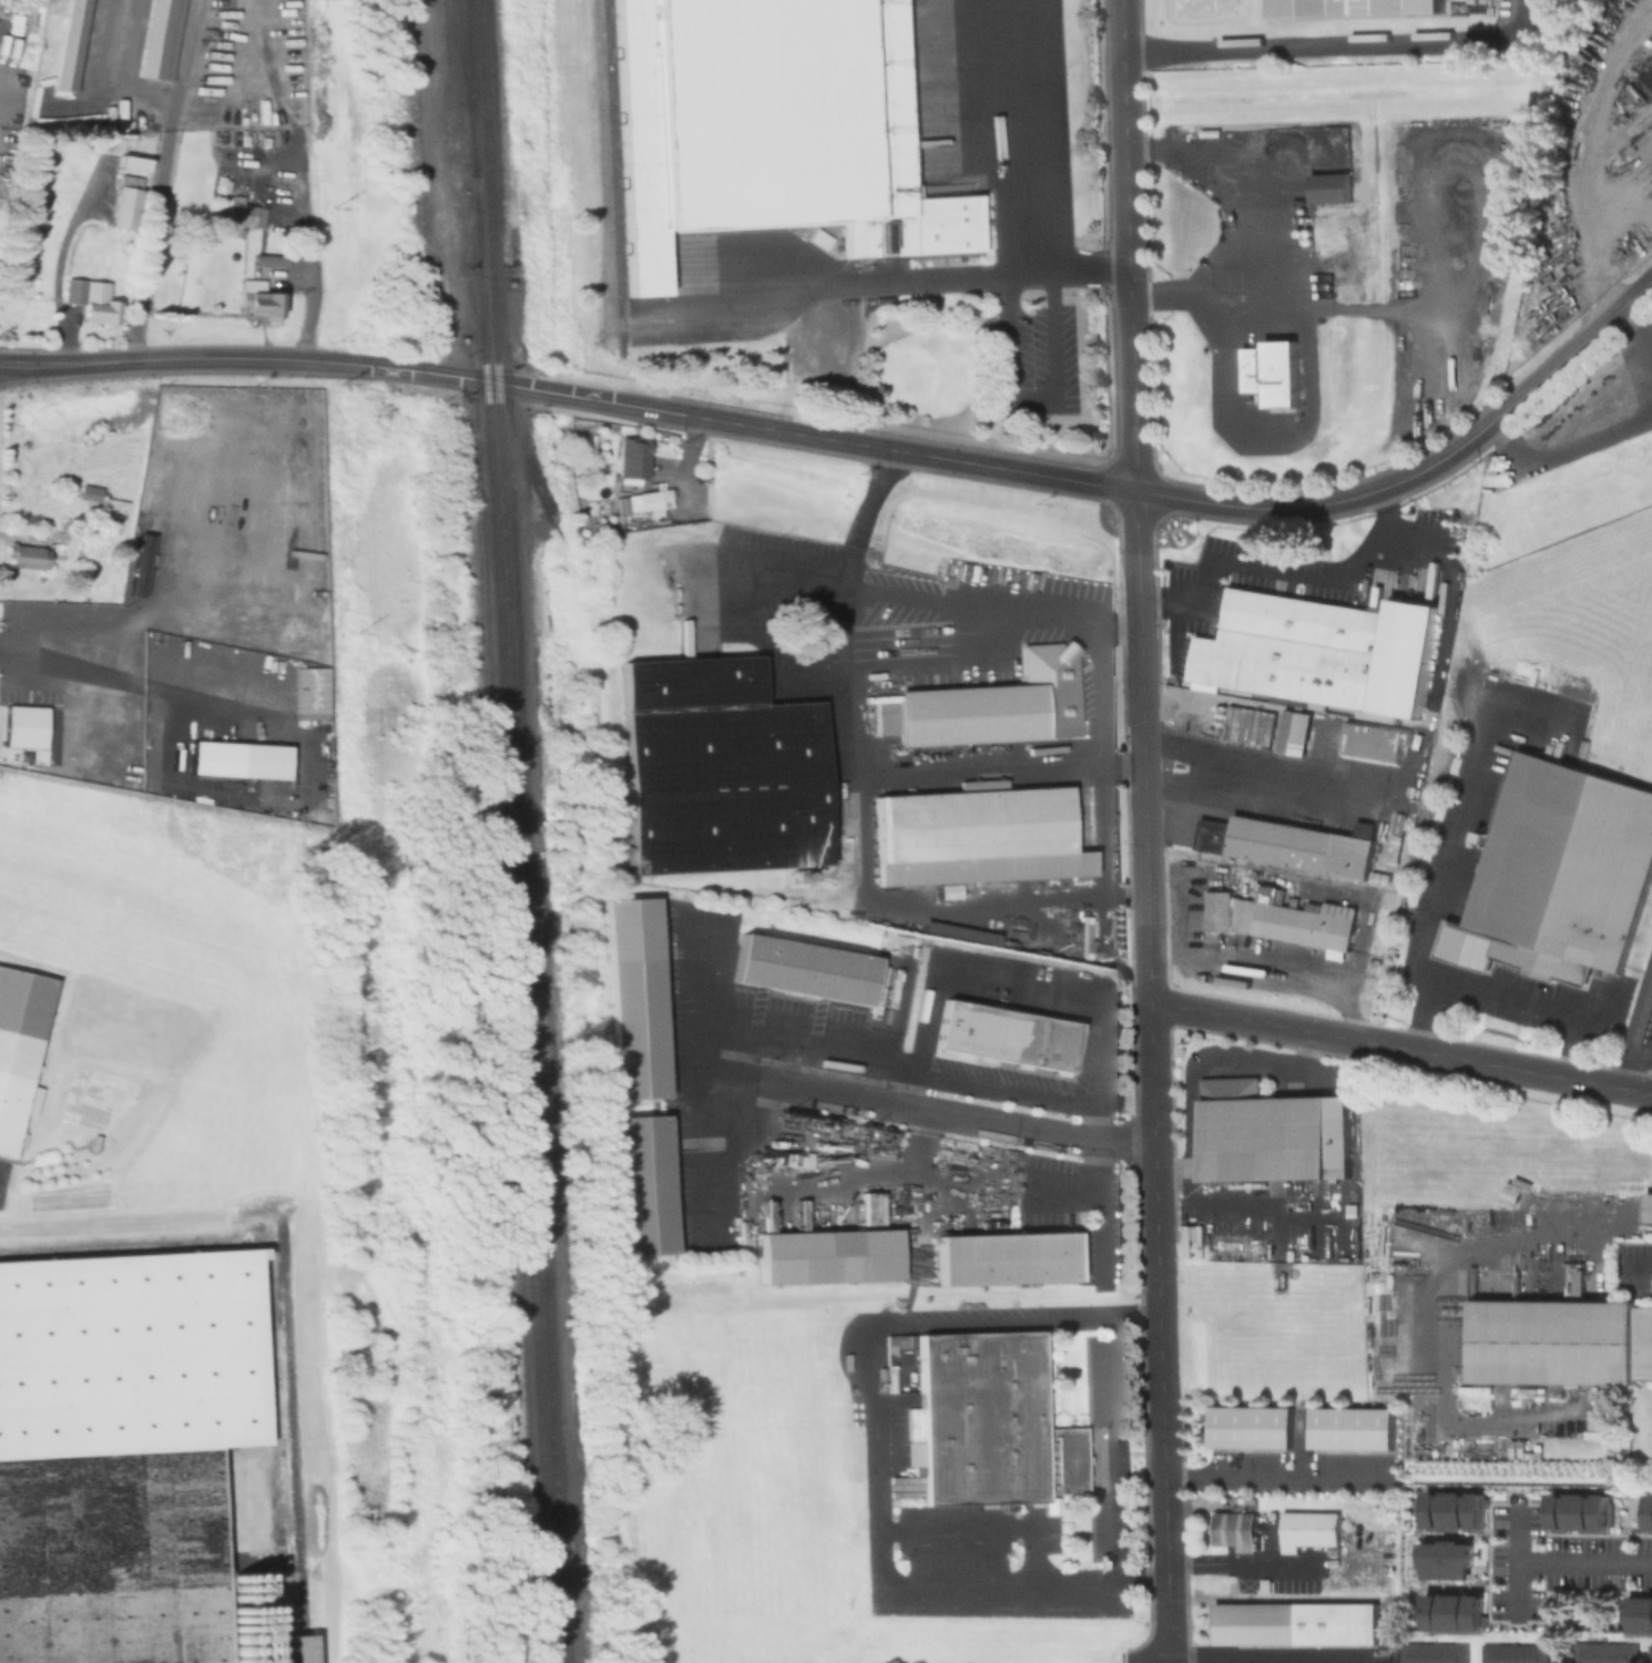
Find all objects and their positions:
building: (1353, 8)
building: (159, 39)
road: (1335, 44)
building: (68, 45)
road: (187, 64)
road: (121, 70)
railway: (460, 88)
building: (768, 127)
railway: (482, 134)
road: (996, 139)
building: (1648, 152)
railway: (610, 155)
road: (1232, 159)
road: (1589, 160)
building: (130, 163)
road: (289, 176)
building: (1329, 188)
building: (122, 207)
railway: (473, 212)
building: (243, 214)
road: (1267, 227)
road: (1624, 235)
road: (150, 242)
road: (1125, 249)
building: (267, 261)
road: (908, 282)
road: (1638, 295)
building: (90, 299)
building: (261, 305)
road: (1636, 349)
road: (1566, 359)
road: (72, 361)
road: (407, 370)
building: (1272, 374)
road: (1306, 384)
road: (1032, 400)
railway: (496, 401)
building: (1550, 417)
road: (1562, 445)
building: (631, 459)
building: (134, 482)
road: (1100, 492)
building: (641, 503)
building: (28, 558)
road: (786, 569)
road: (1276, 571)
road: (975, 635)
building: (1318, 654)
road: (140, 677)
road: (1101, 679)
building: (313, 687)
building: (997, 704)
building: (23, 726)
building: (1294, 734)
building: (1373, 743)
road: (1142, 751)
road: (858, 753)
building: (245, 755)
building: (718, 768)
road: (1301, 781)
building: (973, 836)
building: (1291, 844)
road: (1452, 854)
building: (1558, 876)
building: (1279, 918)
building: (958, 931)
building: (802, 971)
road: (1495, 989)
building: (634, 998)
building: (1641, 1008)
road: (1262, 1022)
building: (1005, 1038)
railway: (519, 1043)
building: (18, 1044)
road: (1632, 1065)
road: (1511, 1069)
road: (705, 1080)
road: (1073, 1092)
railway: (532, 1099)
road: (929, 1112)
road: (917, 1114)
road: (1154, 1122)
building: (1271, 1134)
road: (907, 1165)
building: (642, 1186)
road: (1102, 1188)
building: (1649, 1210)
building: (827, 1257)
building: (1006, 1261)
road: (1159, 1316)
building: (1560, 1340)
building: (989, 1422)
railway: (290, 1427)
building: (1250, 1427)
building: (1352, 1427)
road: (1116, 1450)
building: (121, 1451)
road: (1274, 1478)
building: (1648, 1506)
building: (1451, 1508)
building: (1578, 1509)
road: (1162, 1523)
road: (983, 1528)
building: (1307, 1528)
building: (1233, 1530)
road: (878, 1532)
building: (1445, 1559)
road: (1523, 1562)
road: (1588, 1564)
building: (1450, 1609)
building: (1639, 1612)
building: (1294, 1622)
building: (298, 1647)
railway: (302, 1647)
building: (1600, 1652)
building: (1431, 1653)
building: (1512, 1653)
building: (1649, 1653)
road: (1277, 1656)

